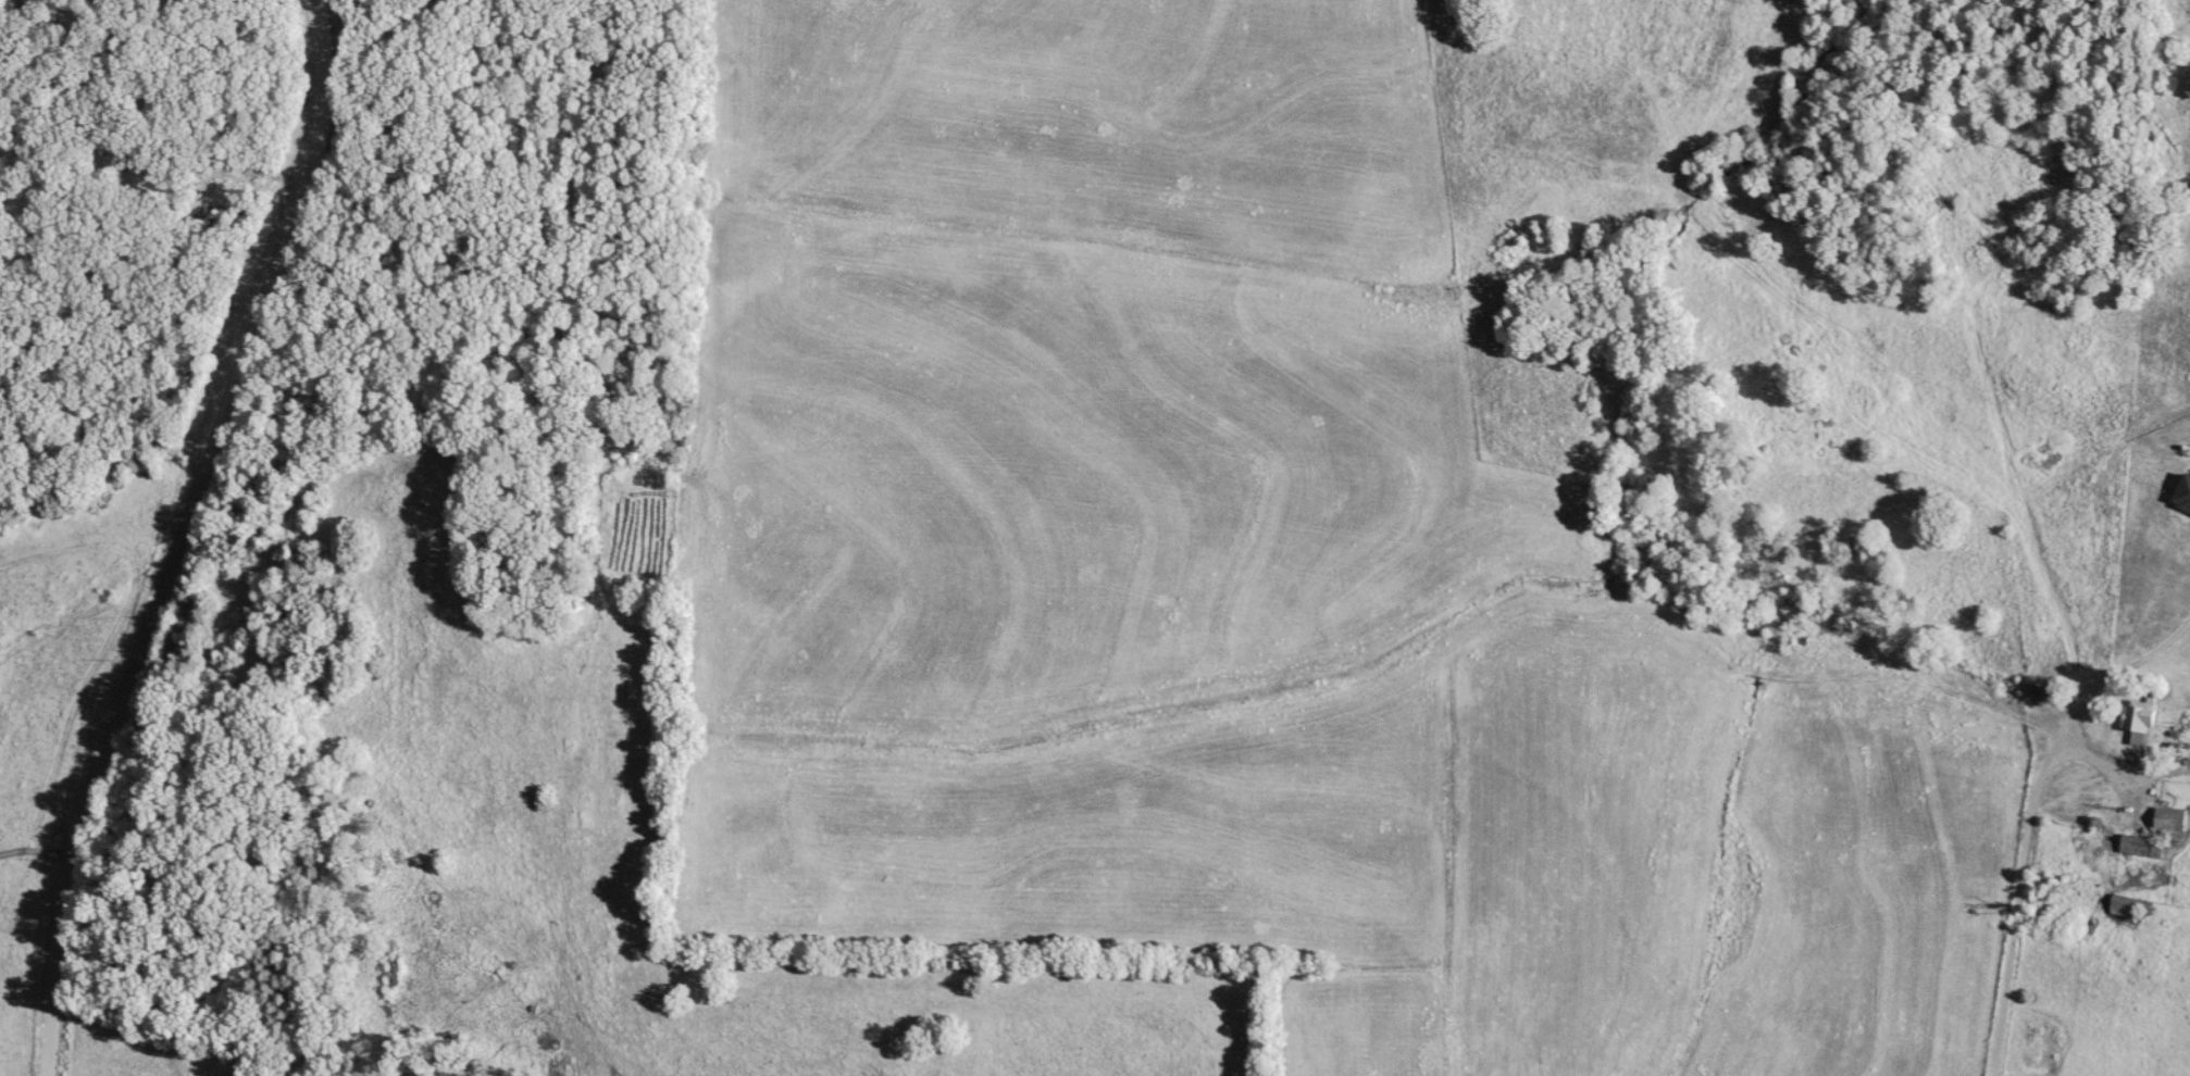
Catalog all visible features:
building: (2185, 495)
road: (188, 535)
crop: (1167, 543)
building: (2140, 721)
road: (2030, 815)
building: (2172, 824)
building: (2143, 849)
building: (2127, 908)

